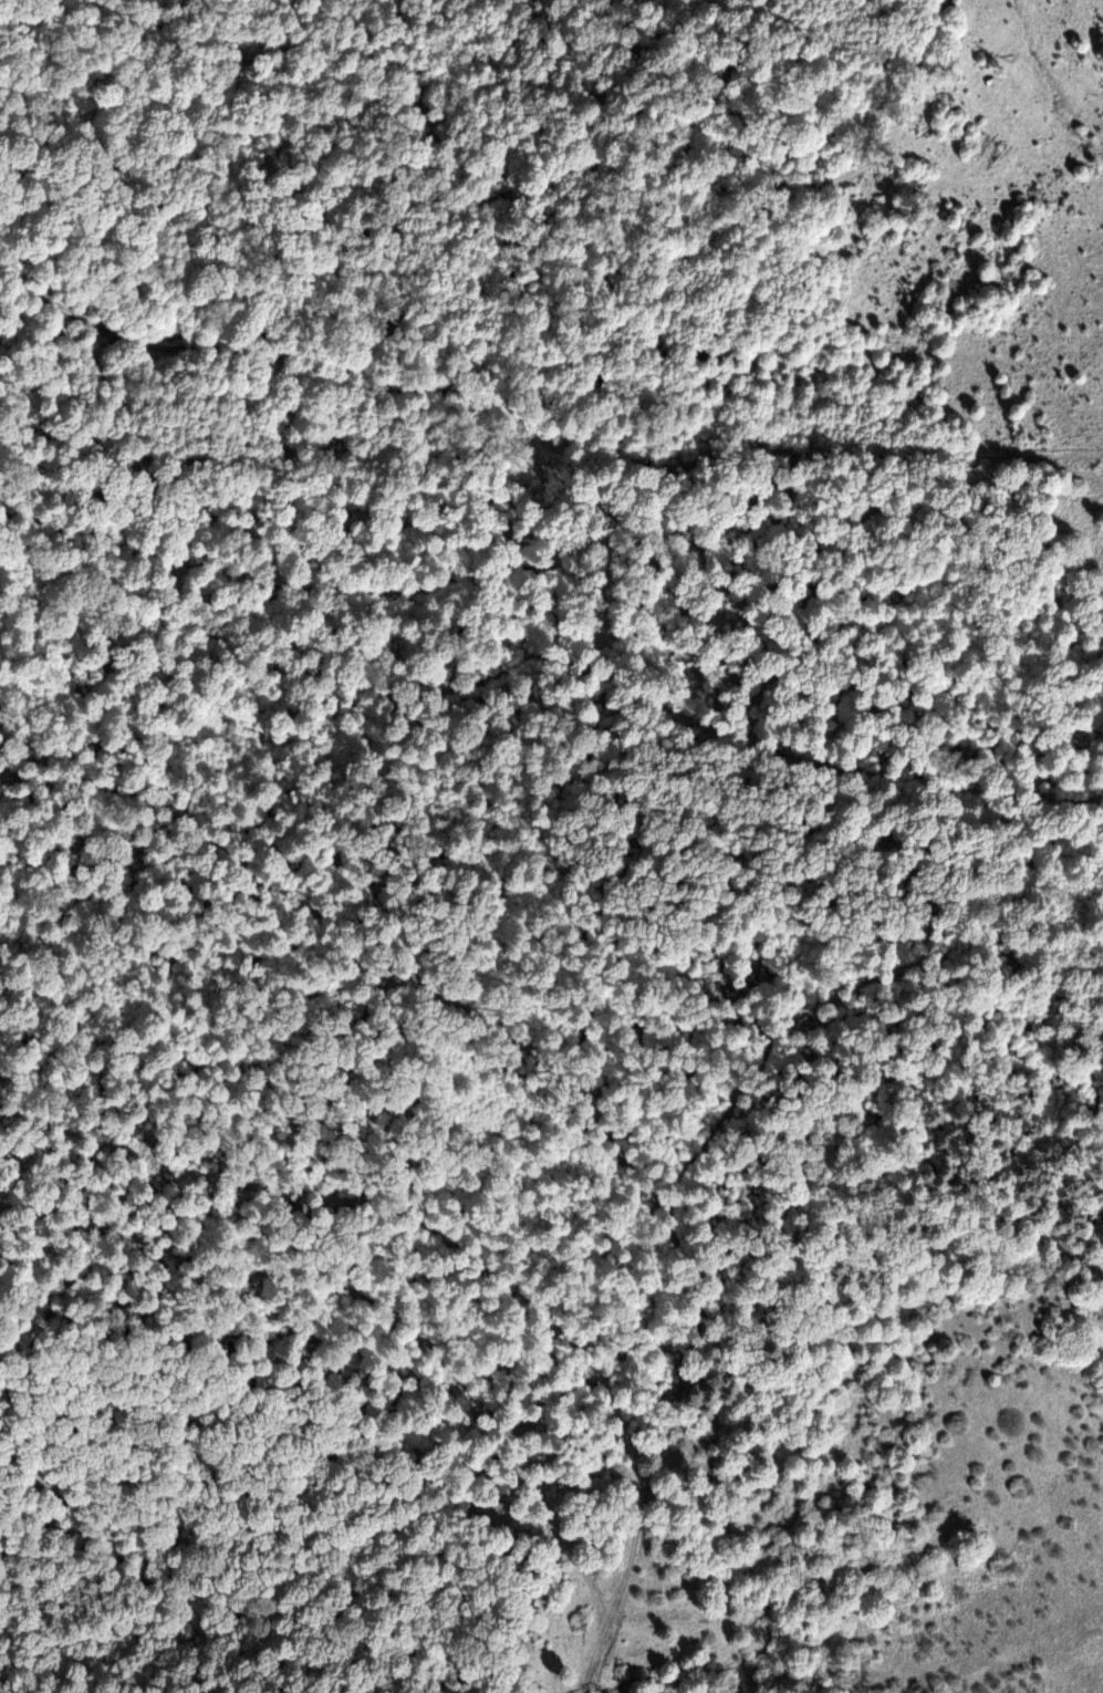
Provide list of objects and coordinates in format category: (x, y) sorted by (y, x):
road: (356, 1336)
road: (644, 1483)

